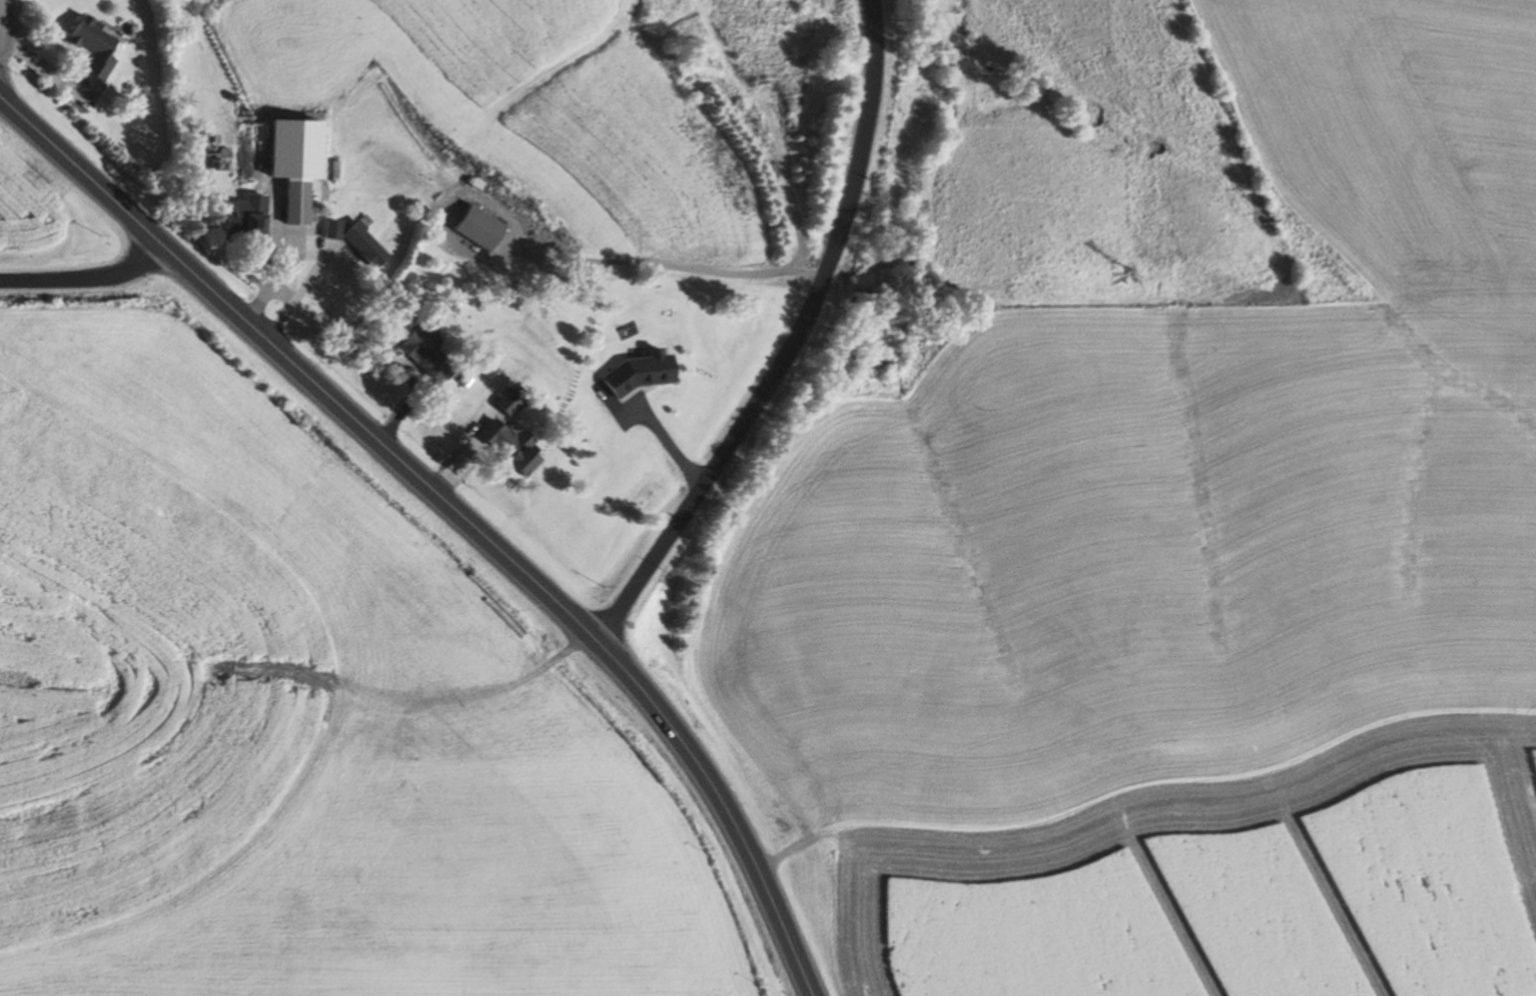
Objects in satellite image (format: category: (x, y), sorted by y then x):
road: (8, 21)
building: (101, 48)
building: (283, 140)
road: (859, 165)
building: (330, 171)
building: (287, 202)
building: (241, 217)
building: (472, 226)
building: (352, 241)
road: (87, 278)
building: (420, 356)
building: (637, 371)
building: (501, 446)
road: (701, 483)
road: (451, 509)

